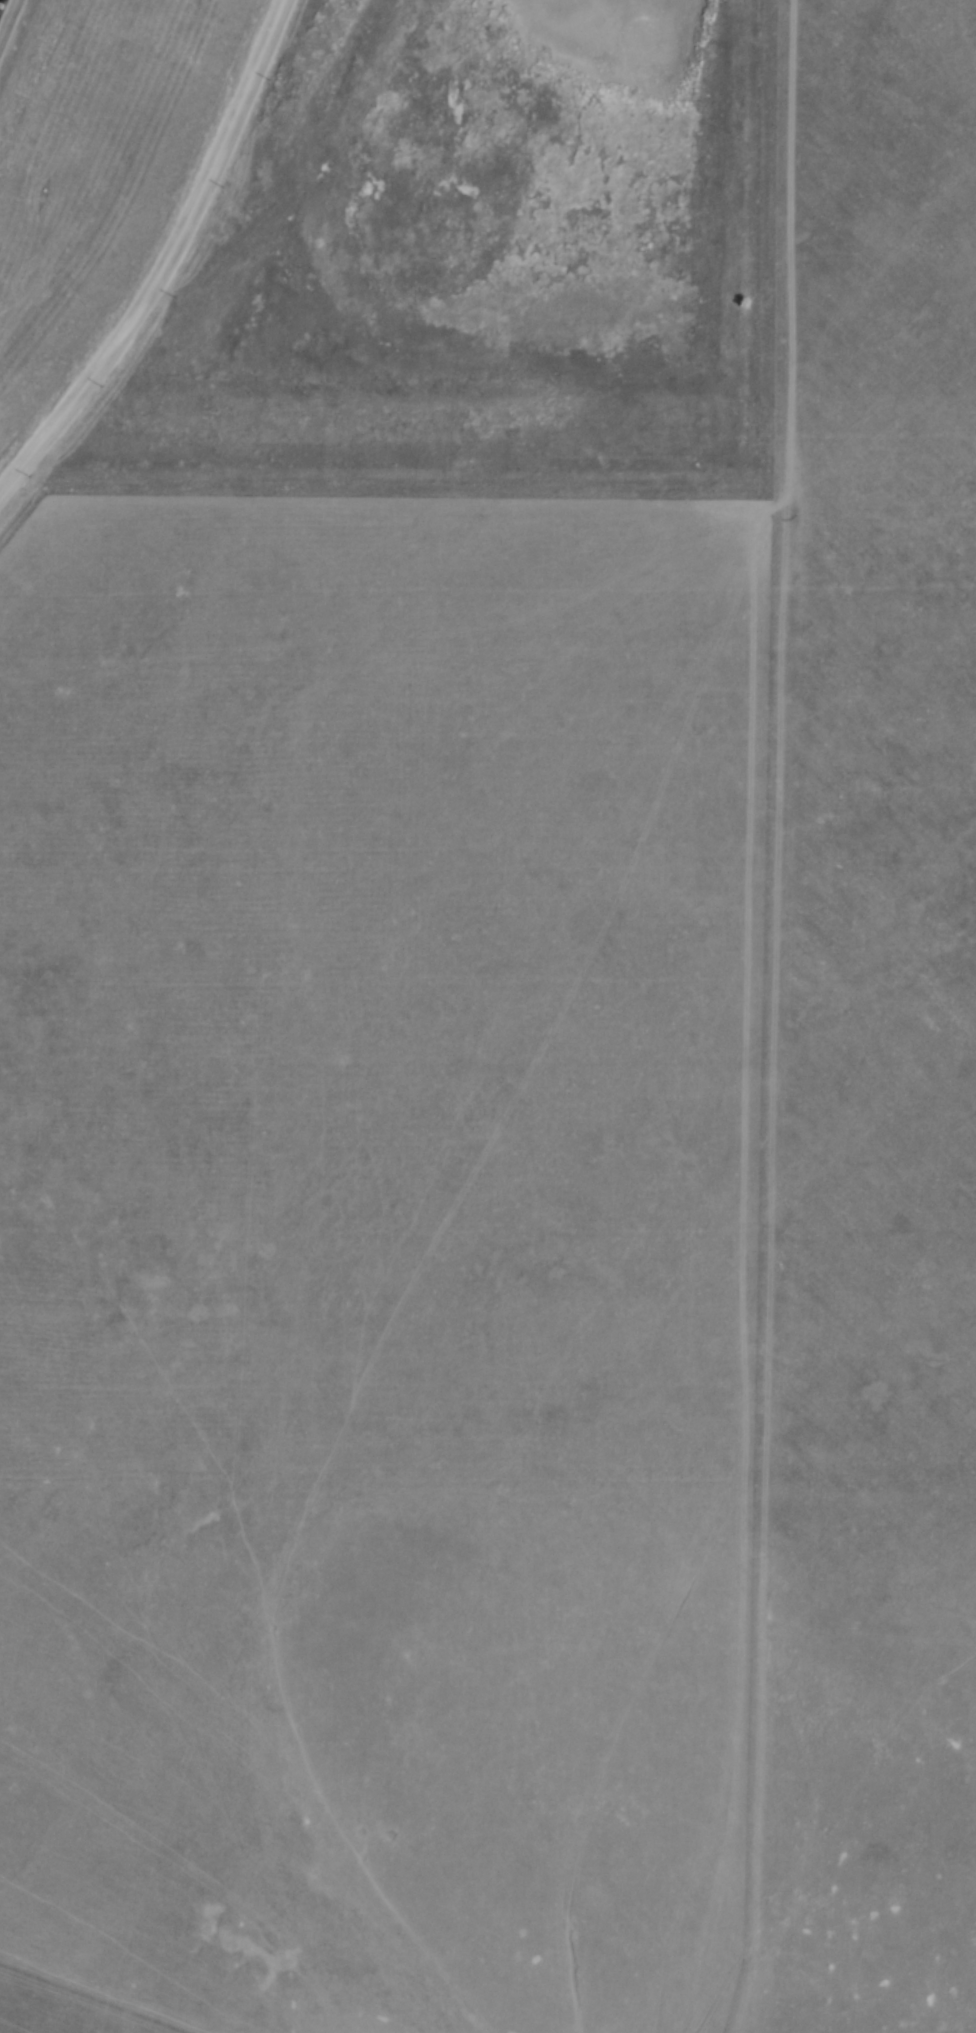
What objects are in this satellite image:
railway: (0, 0)
road: (7, 17)
road: (171, 260)

